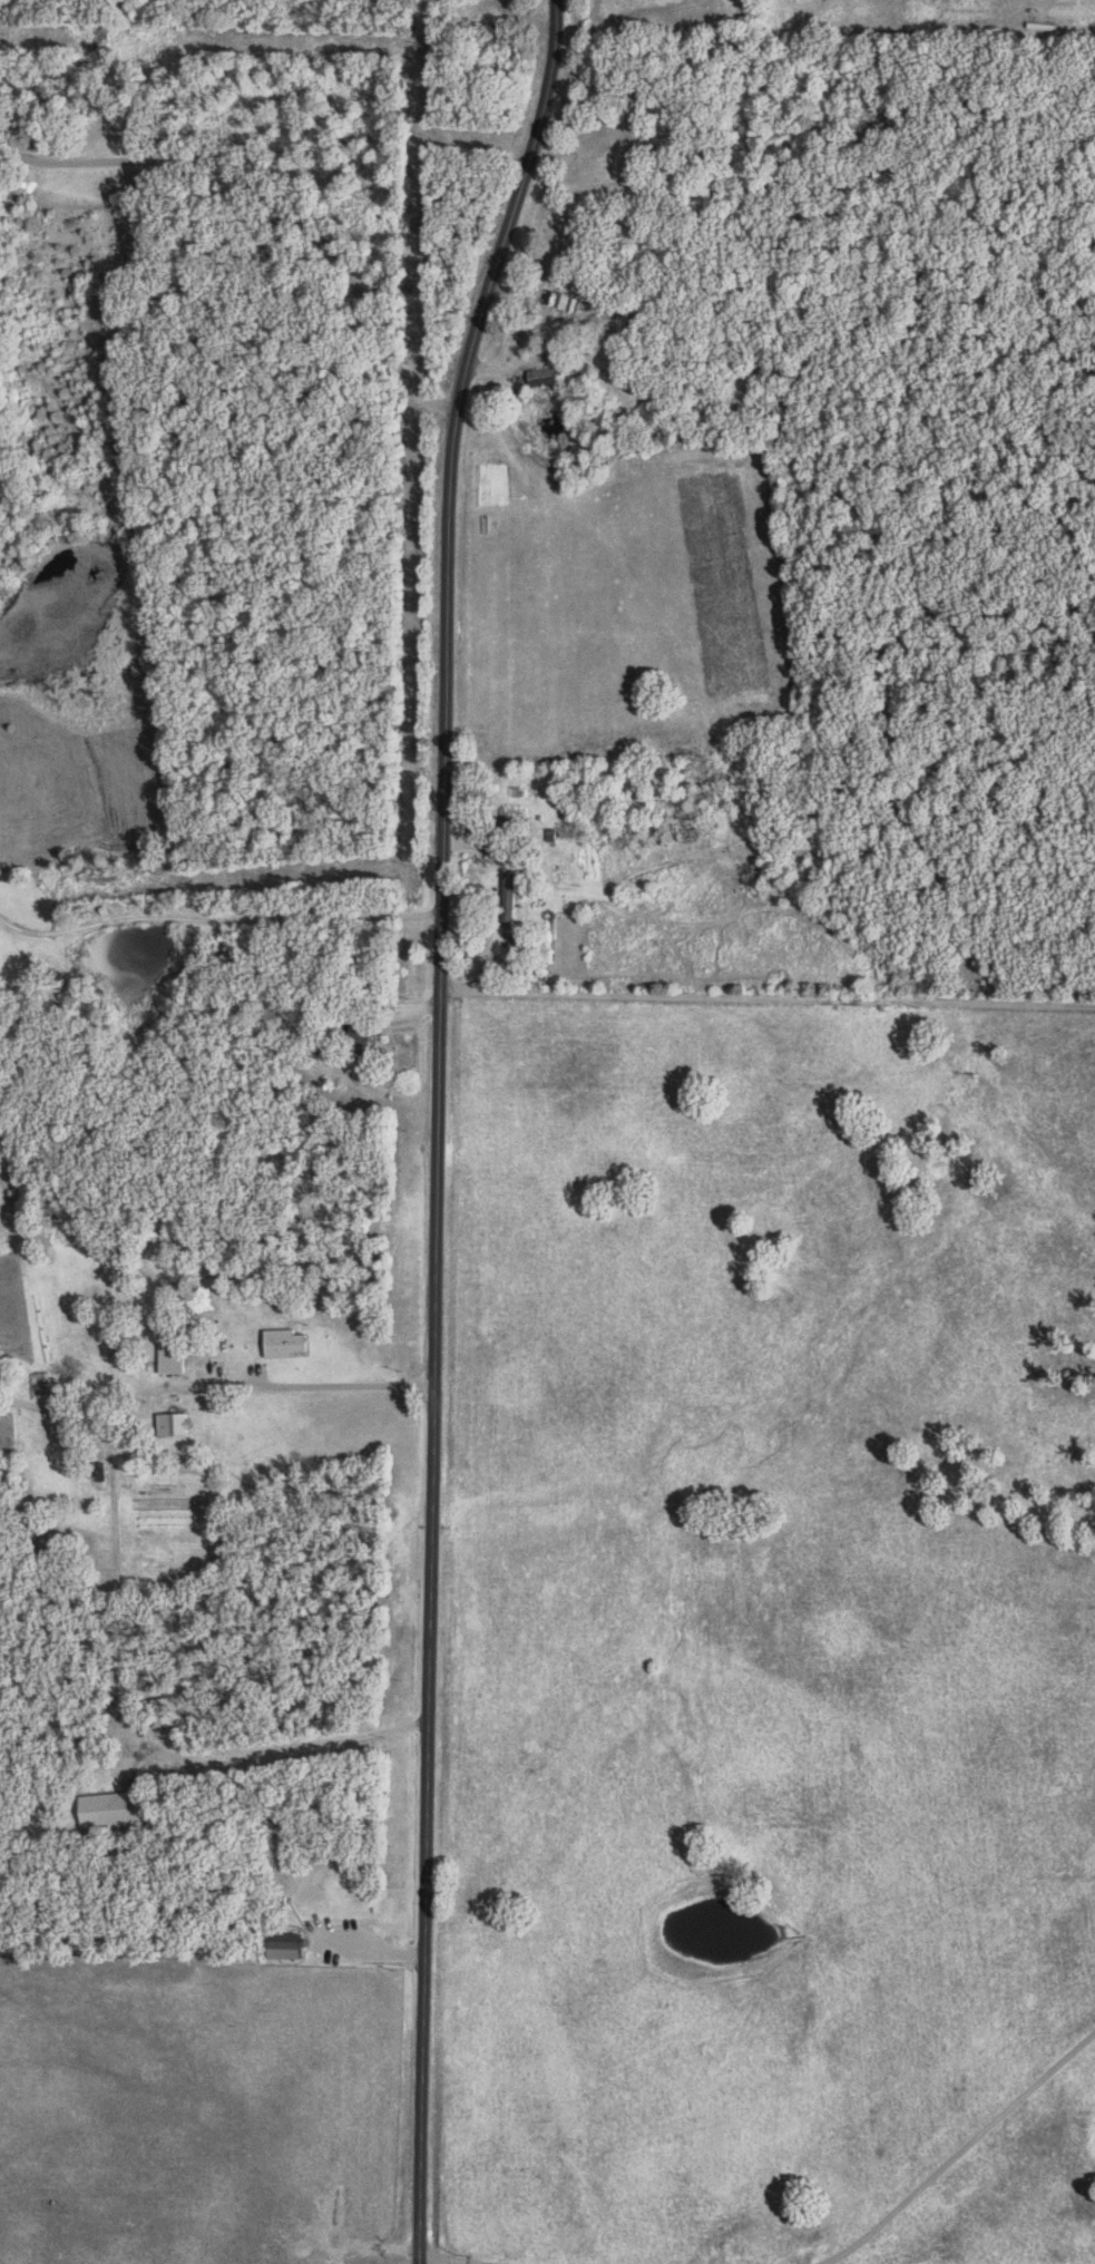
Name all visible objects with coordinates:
building: (545, 377)
building: (512, 900)
road: (247, 926)
road: (768, 1002)
road: (437, 1124)
building: (289, 1341)
building: (177, 1423)

